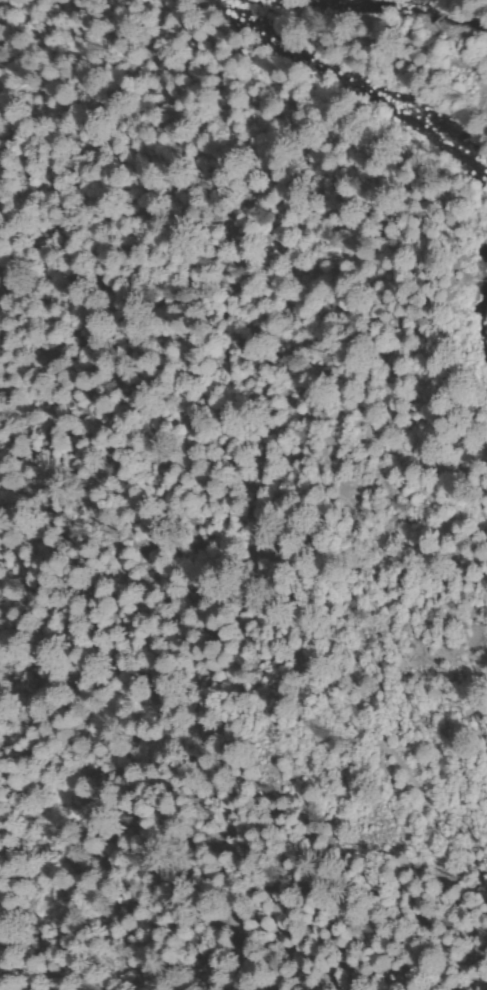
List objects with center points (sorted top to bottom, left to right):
river: (413, 203)

